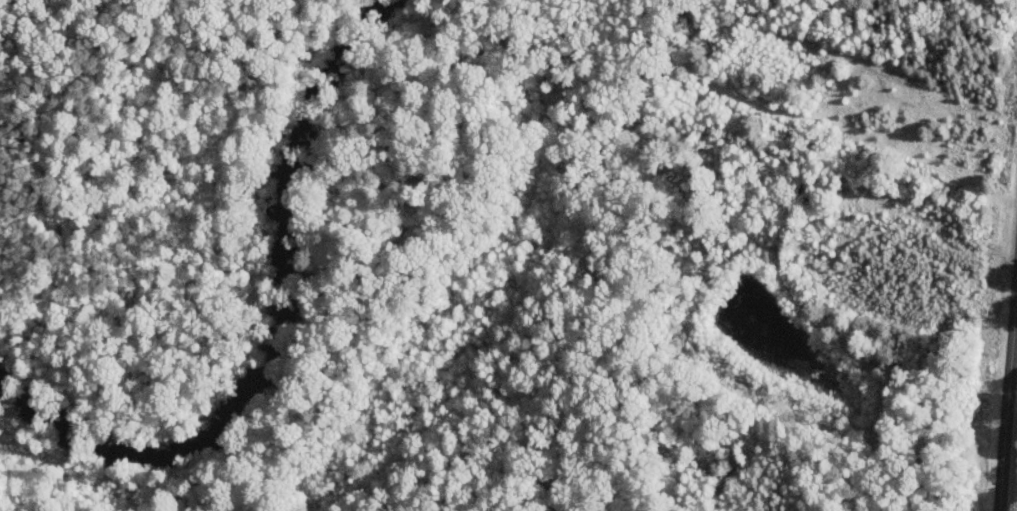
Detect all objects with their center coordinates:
road: (1009, 399)

